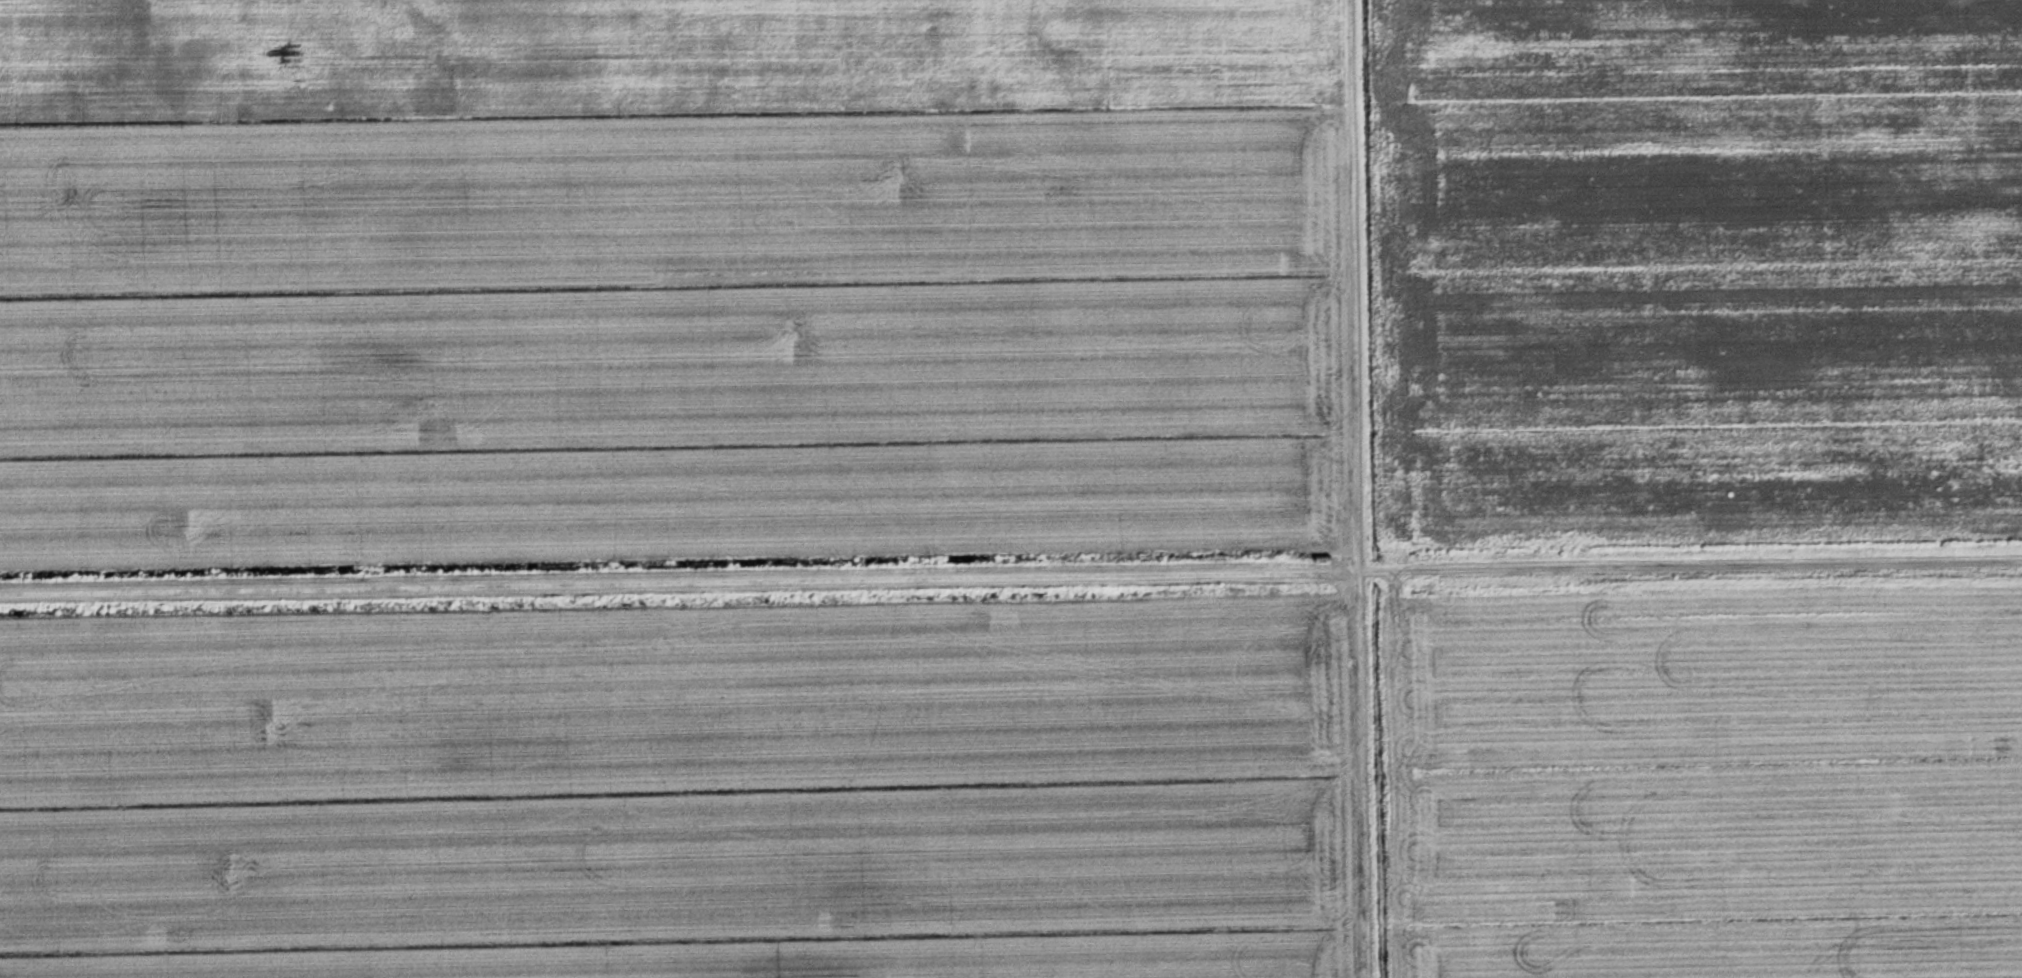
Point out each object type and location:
crop: (1696, 270)
crop: (668, 279)
road: (1362, 488)
crop: (1705, 784)
crop: (688, 792)

